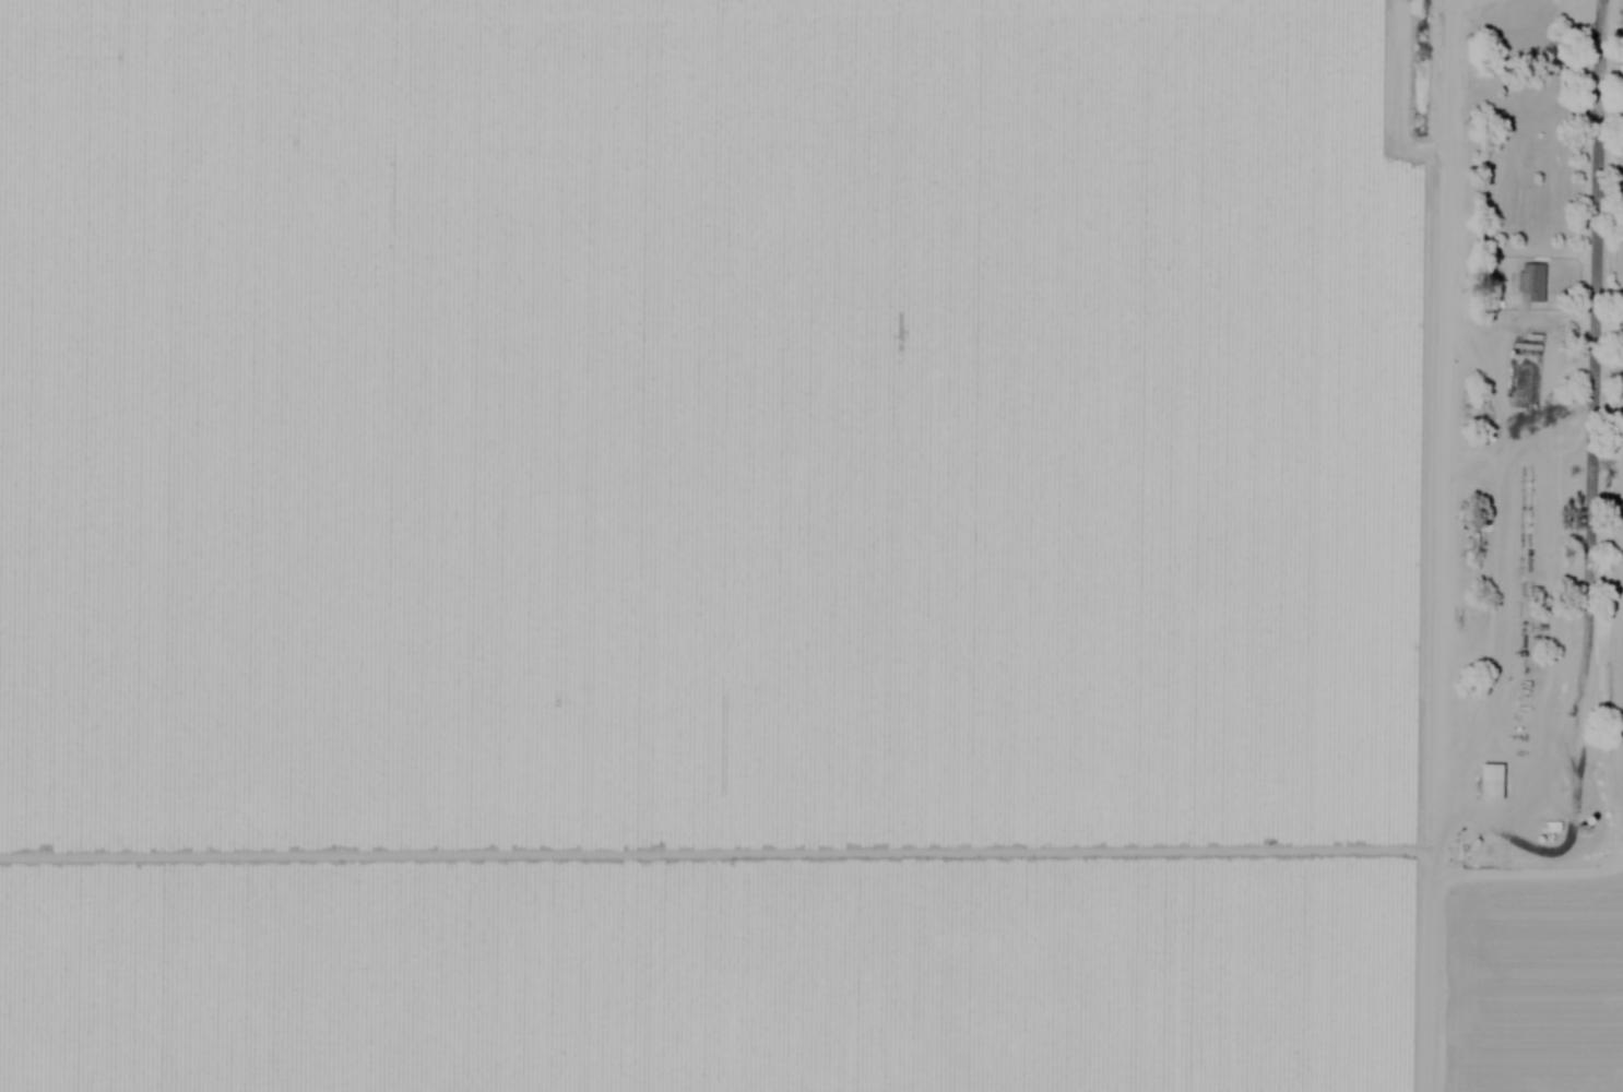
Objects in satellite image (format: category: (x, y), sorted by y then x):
crop: (1615, 440)
road: (1609, 510)
road: (1440, 545)
crop: (721, 546)
crop: (1528, 974)

